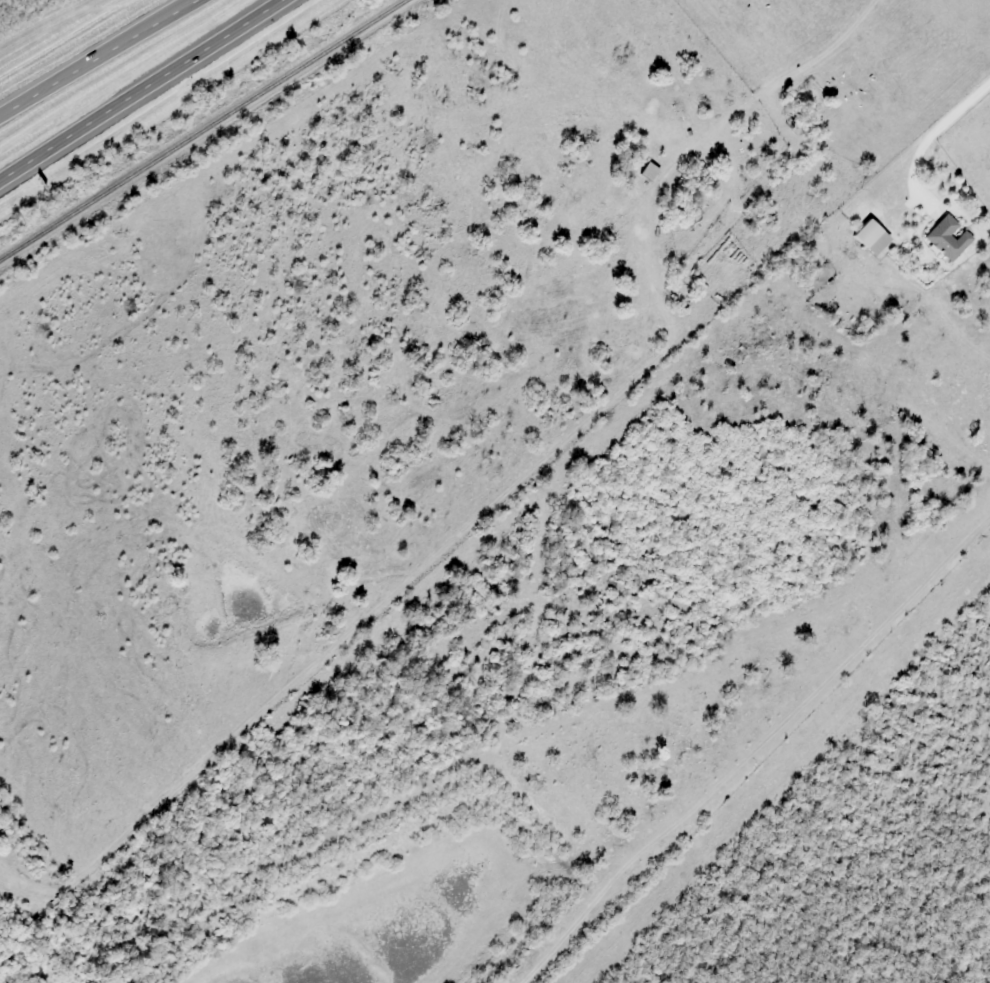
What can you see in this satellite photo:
road: (95, 57)
road: (138, 87)
railway: (206, 134)
building: (647, 172)
building: (689, 215)
building: (868, 237)
building: (946, 238)

